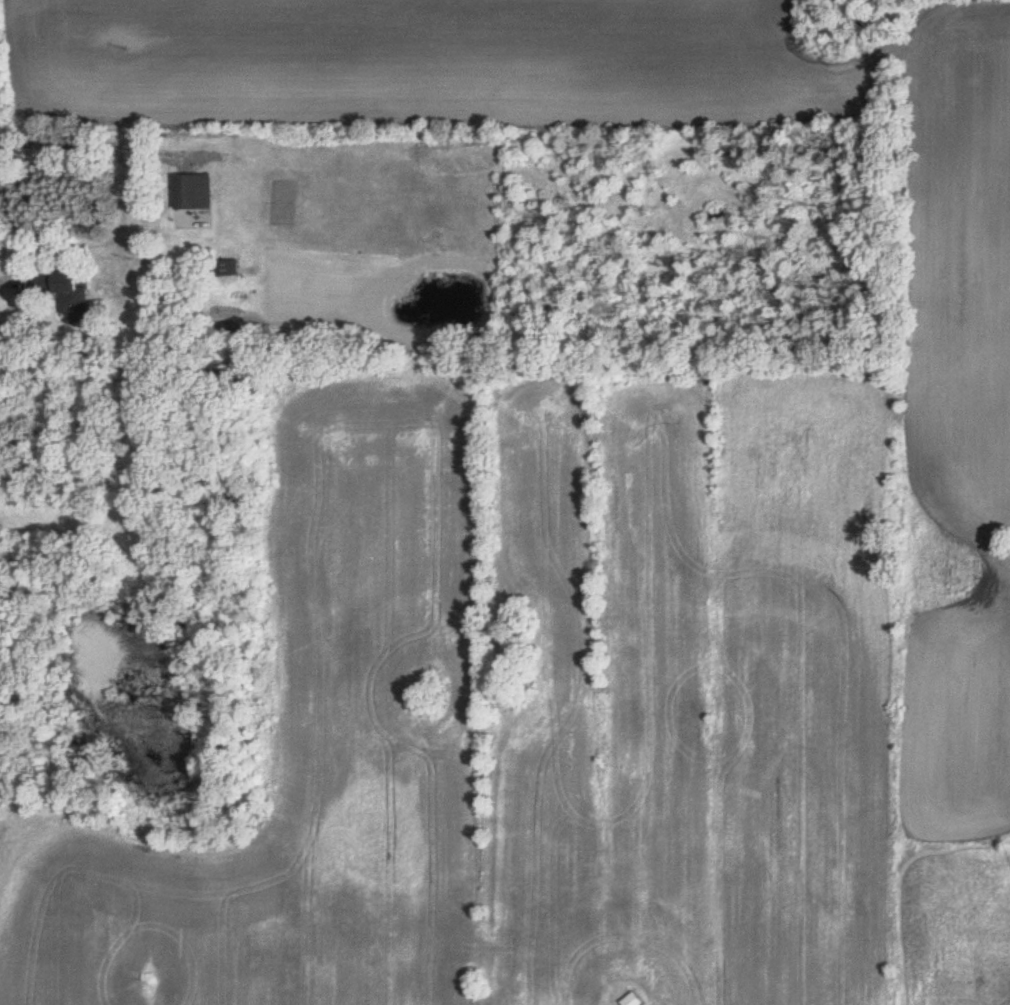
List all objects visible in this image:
building: (189, 193)
building: (229, 268)
building: (73, 297)
building: (632, 1000)

